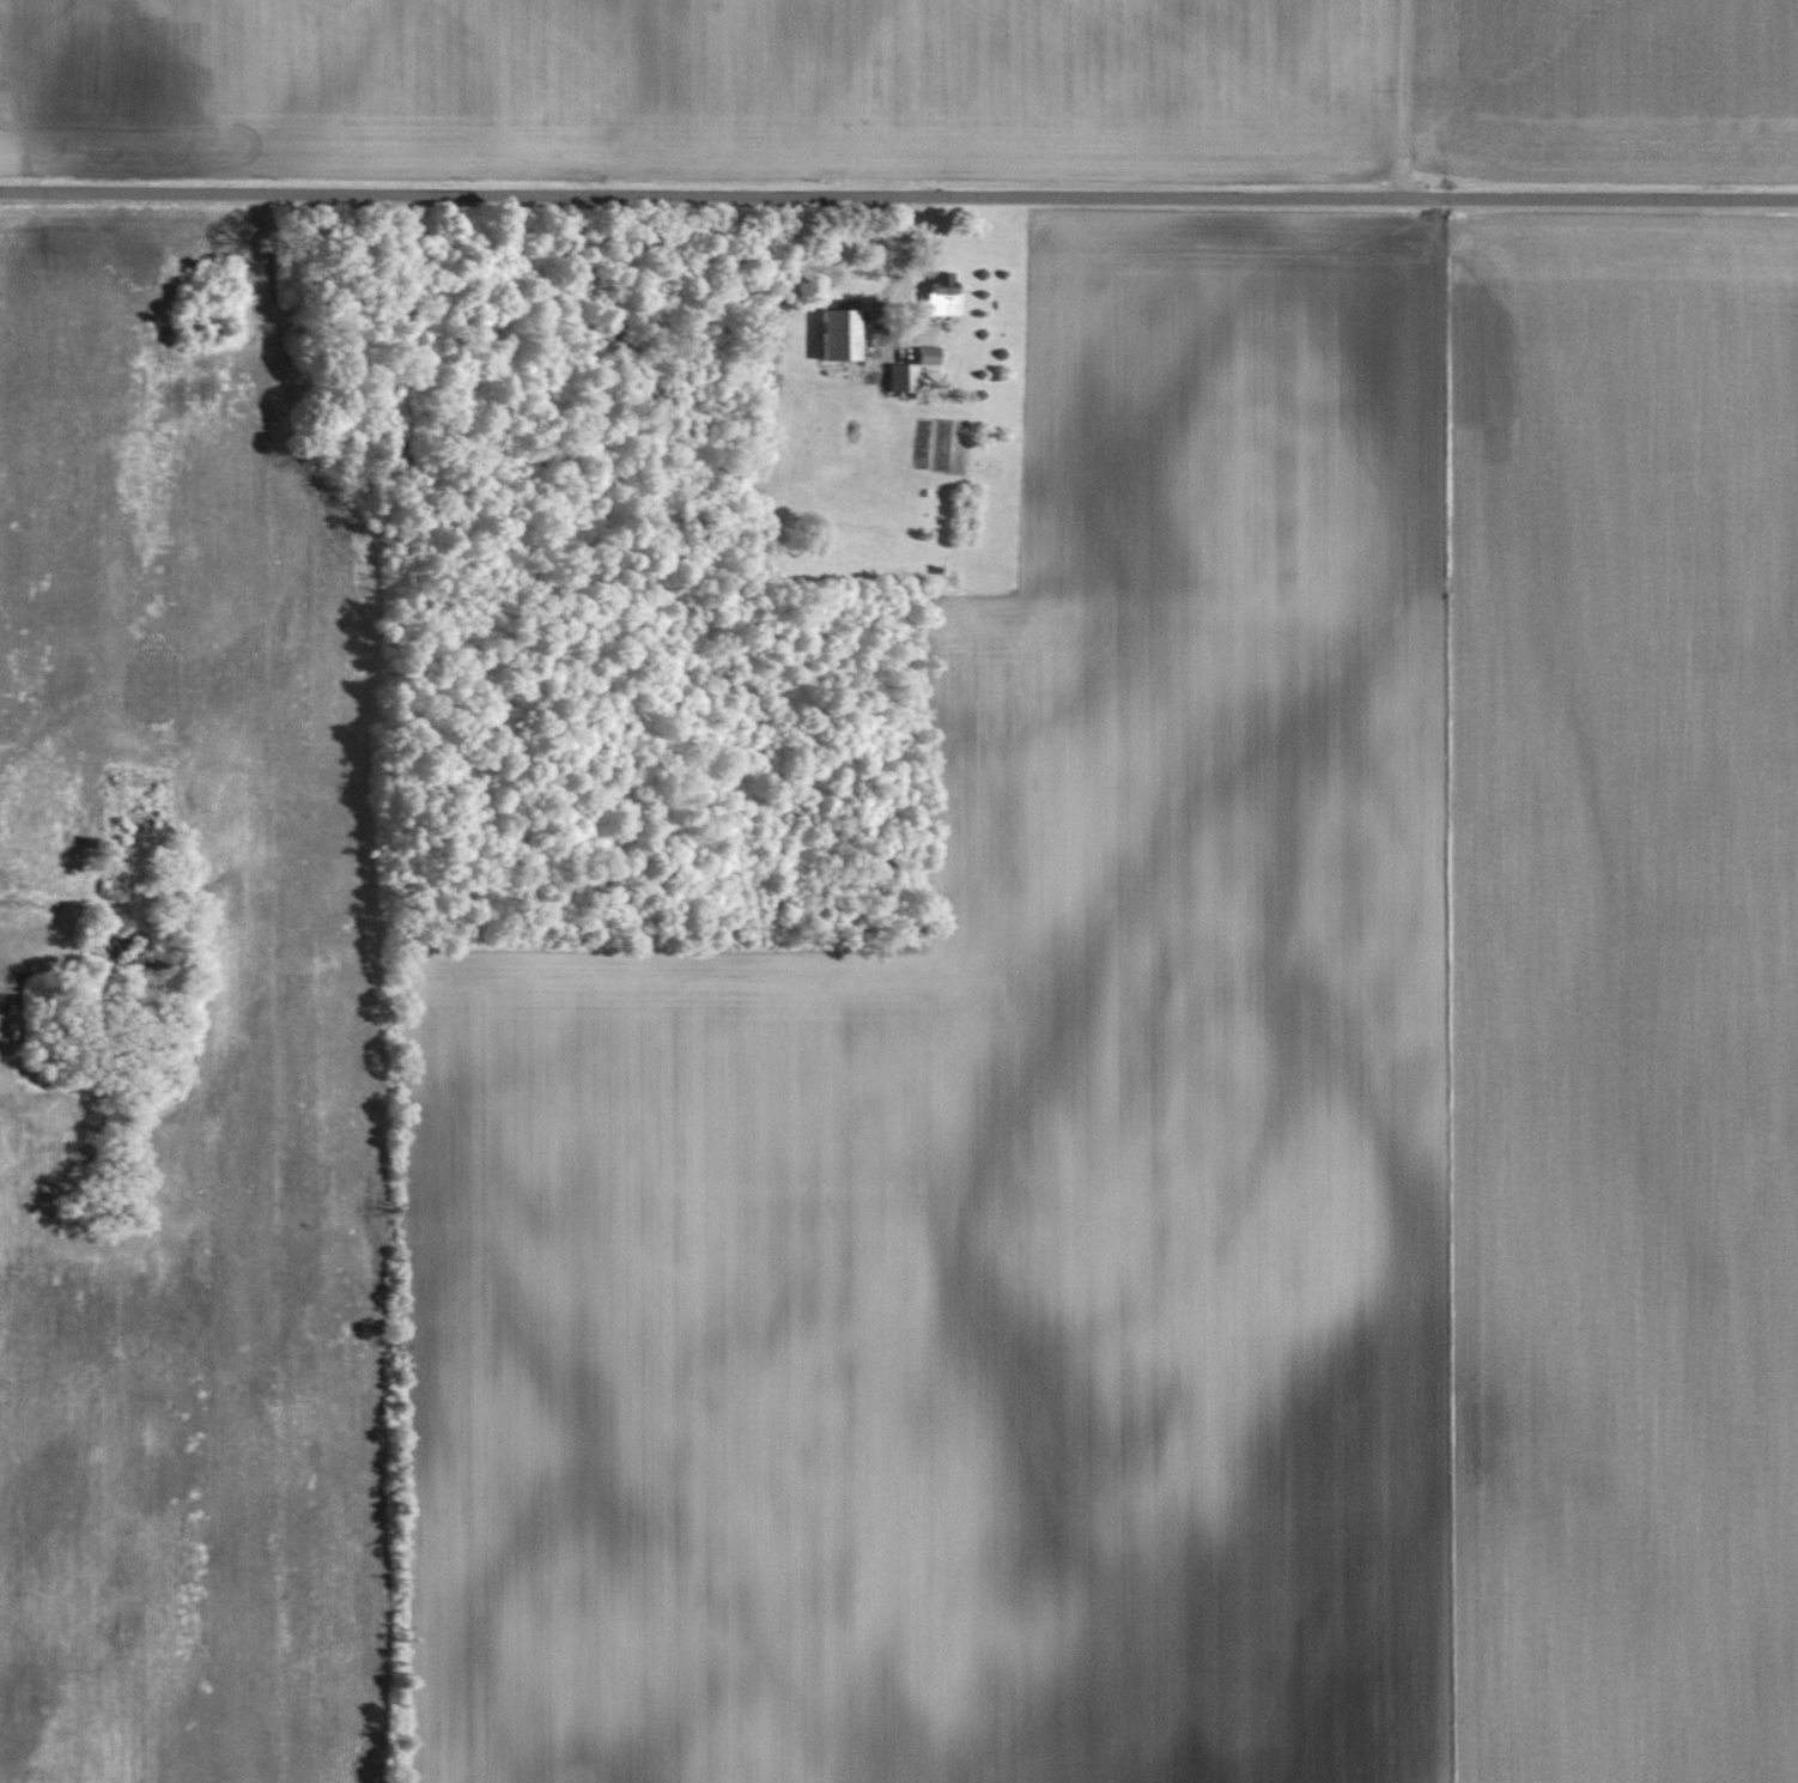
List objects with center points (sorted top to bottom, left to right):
road: (1399, 99)
road: (898, 194)
road: (903, 271)
building: (828, 332)
building: (895, 376)

